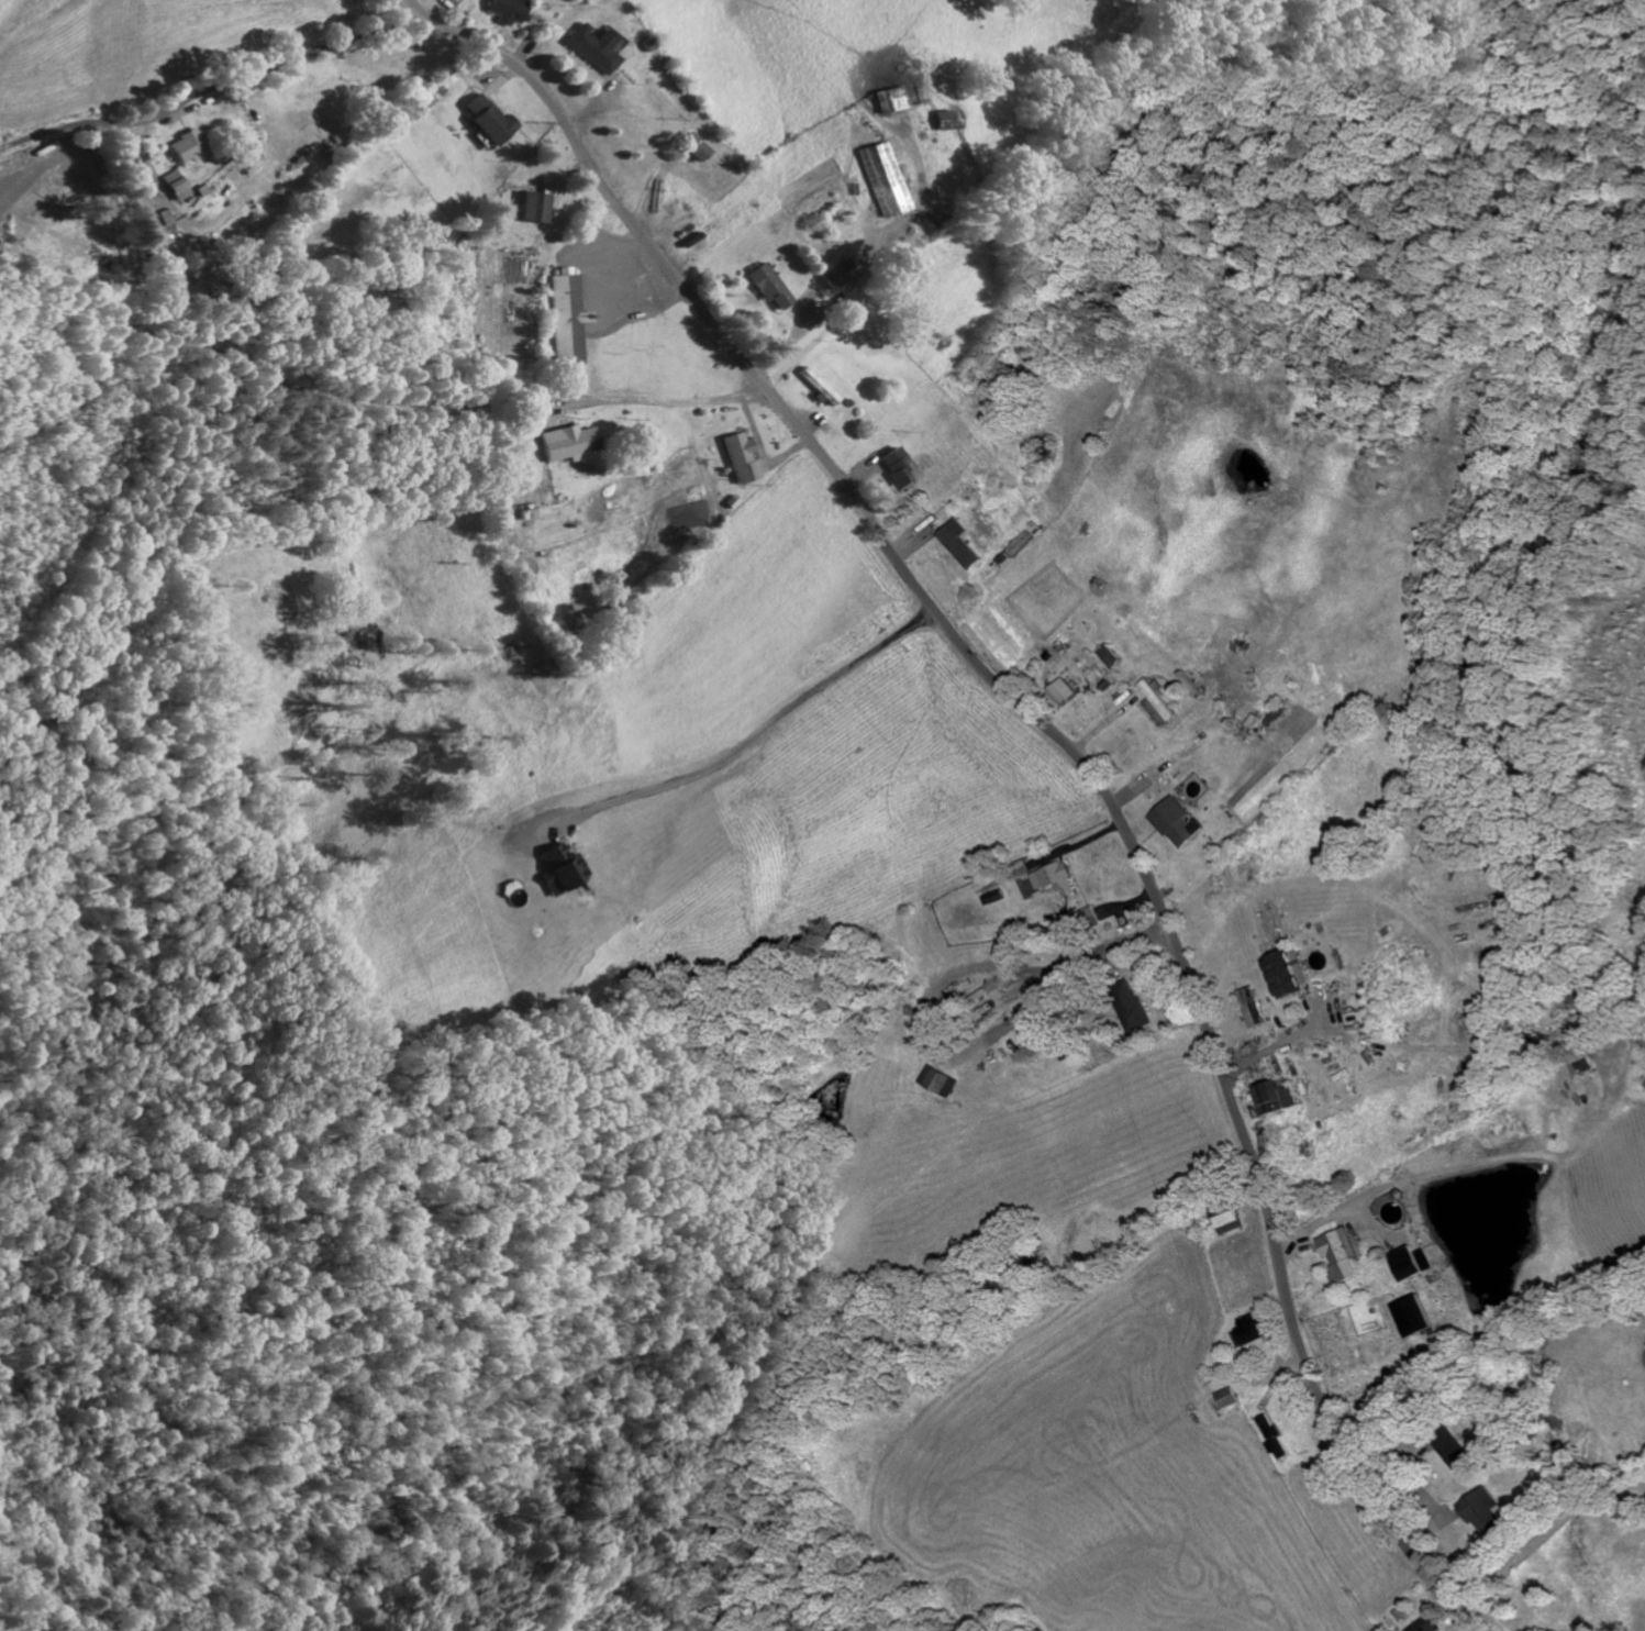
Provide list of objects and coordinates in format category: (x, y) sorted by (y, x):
building: (505, 11)
building: (587, 48)
road: (211, 89)
building: (886, 101)
building: (490, 122)
building: (936, 122)
building: (181, 148)
building: (687, 149)
building: (876, 180)
building: (170, 187)
building: (533, 210)
building: (830, 278)
building: (764, 287)
building: (565, 320)
building: (811, 385)
building: (563, 444)
building: (738, 459)
building: (896, 473)
building: (959, 545)
building: (1115, 655)
building: (1164, 702)
road: (1063, 737)
building: (1177, 822)
road: (862, 859)
building: (555, 868)
building: (1057, 878)
building: (1090, 917)
building: (1132, 1006)
building: (1253, 1007)
building: (1275, 1097)
building: (1230, 1222)
building: (1341, 1254)
building: (1410, 1263)
building: (1412, 1316)
building: (1254, 1330)
building: (1230, 1398)
building: (1275, 1438)
building: (1455, 1447)
building: (1487, 1514)
road: (1548, 1532)
building: (1427, 1626)

